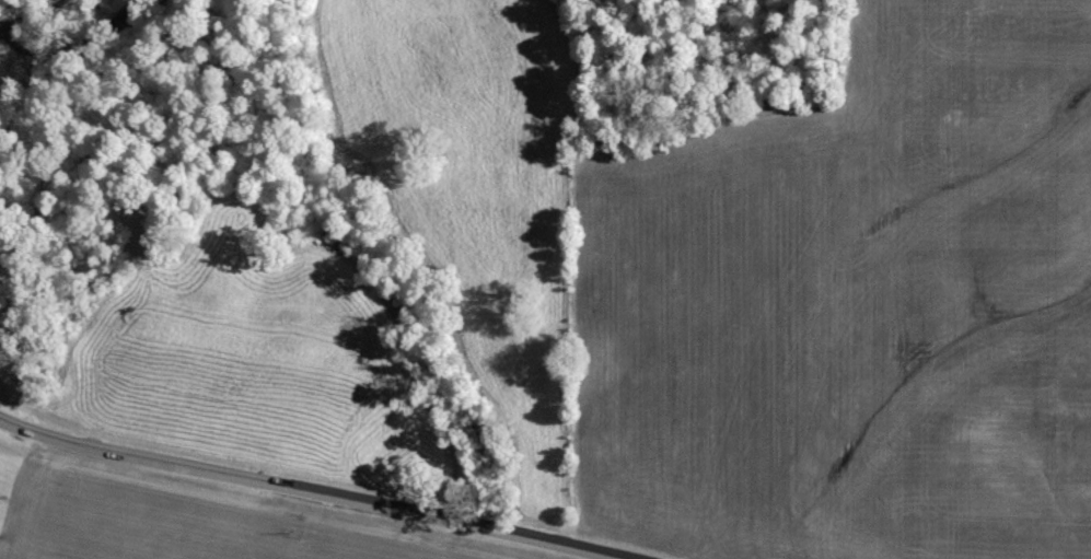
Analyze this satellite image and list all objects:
river: (39, 18)
road: (312, 491)

